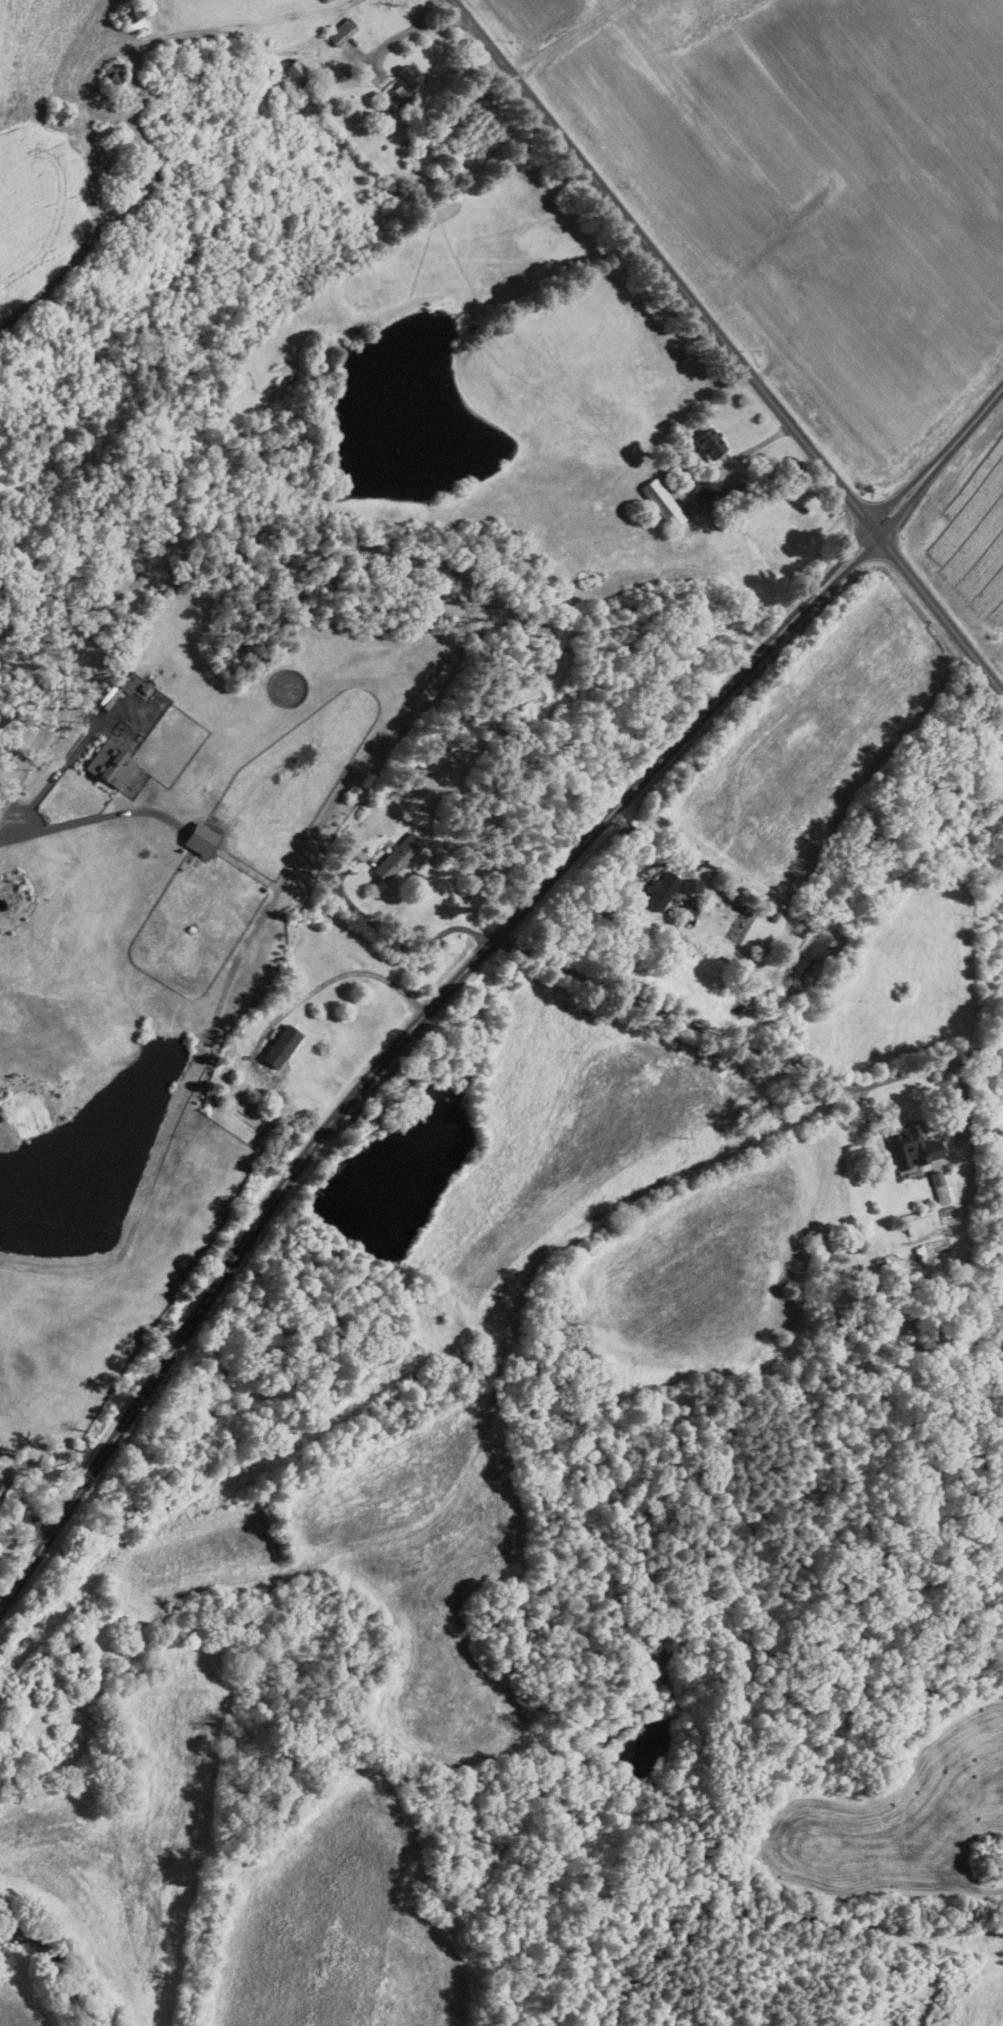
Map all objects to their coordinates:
road: (426, 13)
building: (133, 18)
road: (442, 22)
road: (186, 31)
building: (342, 31)
road: (389, 40)
building: (294, 70)
building: (405, 84)
road: (727, 347)
building: (710, 443)
road: (729, 484)
building: (703, 491)
building: (662, 503)
building: (435, 753)
building: (110, 765)
road: (86, 819)
building: (199, 838)
road: (649, 842)
building: (397, 857)
building: (691, 886)
building: (661, 891)
road: (390, 938)
road: (465, 971)
road: (315, 989)
building: (280, 1046)
road: (745, 1049)
road: (965, 1101)
building: (912, 1149)
building: (917, 1222)
road: (26, 1517)

